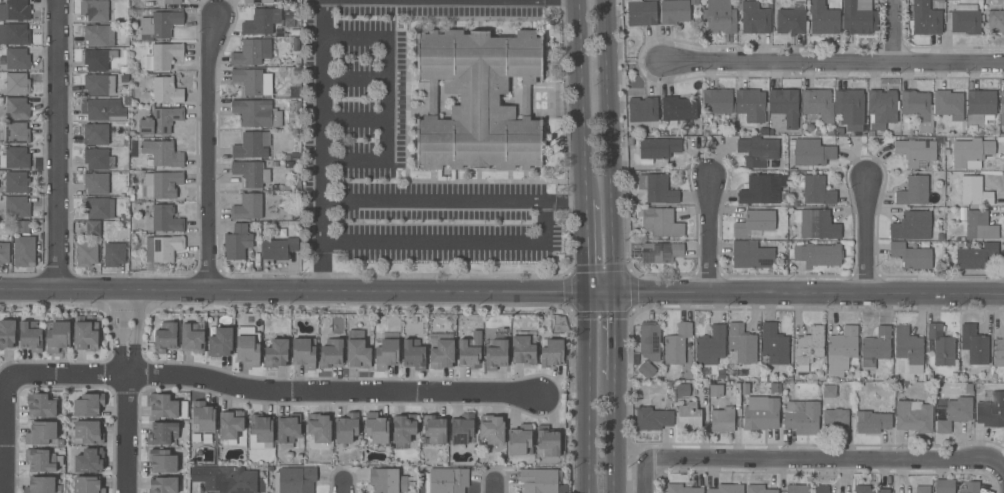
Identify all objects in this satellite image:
building: (257, 1)
building: (172, 2)
building: (15, 10)
building: (94, 10)
building: (674, 11)
building: (640, 12)
building: (719, 16)
building: (790, 17)
building: (857, 17)
building: (754, 18)
building: (822, 18)
building: (926, 18)
building: (289, 19)
building: (964, 19)
building: (261, 21)
building: (996, 21)
road: (324, 22)
building: (159, 24)
building: (295, 33)
building: (14, 34)
building: (99, 35)
road: (895, 38)
road: (324, 51)
building: (251, 52)
building: (162, 56)
building: (17, 58)
building: (98, 59)
road: (833, 64)
building: (124, 69)
building: (124, 79)
road: (354, 79)
building: (252, 81)
building: (17, 83)
building: (99, 85)
building: (164, 89)
building: (0, 91)
building: (478, 100)
road: (581, 100)
building: (127, 101)
building: (717, 101)
building: (818, 104)
building: (948, 104)
building: (750, 105)
building: (785, 106)
building: (979, 106)
building: (17, 108)
building: (292, 108)
building: (675, 108)
building: (882, 108)
building: (918, 108)
building: (1002, 108)
building: (101, 109)
building: (643, 109)
building: (850, 109)
building: (256, 113)
road: (354, 119)
building: (160, 121)
building: (17, 133)
building: (96, 134)
building: (849, 141)
road: (61, 144)
road: (607, 144)
building: (252, 145)
building: (659, 148)
building: (757, 151)
building: (971, 151)
building: (810, 152)
building: (916, 152)
road: (216, 153)
building: (162, 154)
building: (15, 158)
building: (98, 159)
building: (289, 165)
building: (125, 167)
building: (251, 173)
building: (16, 182)
building: (96, 183)
building: (160, 184)
building: (657, 189)
building: (761, 189)
building: (816, 190)
building: (913, 191)
building: (974, 192)
road: (453, 199)
building: (16, 206)
building: (247, 207)
building: (99, 208)
building: (124, 218)
building: (166, 219)
building: (661, 222)
building: (754, 222)
building: (816, 224)
building: (979, 225)
building: (912, 226)
building: (23, 227)
building: (93, 228)
road: (868, 230)
road: (711, 231)
building: (237, 242)
road: (452, 242)
road: (586, 243)
building: (163, 248)
building: (279, 248)
building: (24, 252)
building: (661, 252)
building: (4, 253)
building: (86, 254)
building: (114, 254)
building: (818, 255)
building: (975, 255)
building: (751, 256)
building: (911, 256)
road: (307, 288)
road: (808, 289)
building: (7, 333)
building: (57, 334)
road: (613, 334)
building: (85, 336)
building: (193, 336)
building: (30, 337)
building: (165, 339)
building: (649, 340)
building: (220, 342)
building: (740, 344)
building: (774, 344)
building: (974, 344)
building: (677, 345)
building: (941, 345)
building: (248, 346)
building: (710, 346)
building: (875, 347)
building: (469, 349)
building: (807, 349)
building: (842, 349)
building: (909, 349)
building: (522, 350)
building: (441, 351)
building: (999, 352)
building: (276, 353)
building: (551, 353)
building: (303, 354)
building: (331, 354)
building: (357, 354)
building: (386, 354)
building: (413, 355)
building: (496, 356)
building: (645, 369)
building: (775, 388)
road: (127, 390)
road: (587, 390)
building: (682, 390)
building: (715, 390)
road: (272, 391)
building: (829, 391)
building: (40, 405)
building: (88, 405)
building: (166, 407)
building: (991, 411)
building: (761, 413)
building: (955, 413)
building: (203, 416)
building: (801, 416)
building: (913, 416)
building: (688, 417)
building: (722, 417)
building: (835, 417)
building: (652, 419)
building: (872, 421)
building: (230, 424)
building: (319, 427)
building: (261, 428)
building: (288, 428)
building: (346, 428)
building: (376, 428)
building: (403, 428)
building: (461, 428)
building: (434, 429)
building: (492, 429)
road: (4, 432)
building: (88, 432)
building: (41, 433)
building: (162, 433)
road: (613, 437)
building: (518, 439)
building: (548, 441)
building: (42, 460)
building: (88, 460)
road: (827, 460)
building: (162, 461)
road: (645, 475)
building: (225, 478)
building: (294, 480)
building: (387, 480)
building: (446, 480)
building: (540, 481)
building: (87, 484)
building: (40, 485)
building: (163, 485)
building: (944, 486)
road: (342, 487)
building: (969, 487)
road: (494, 488)
building: (727, 488)
building: (681, 489)
building: (758, 489)
building: (797, 489)
building: (822, 489)
building: (922, 489)
building: (869, 490)

